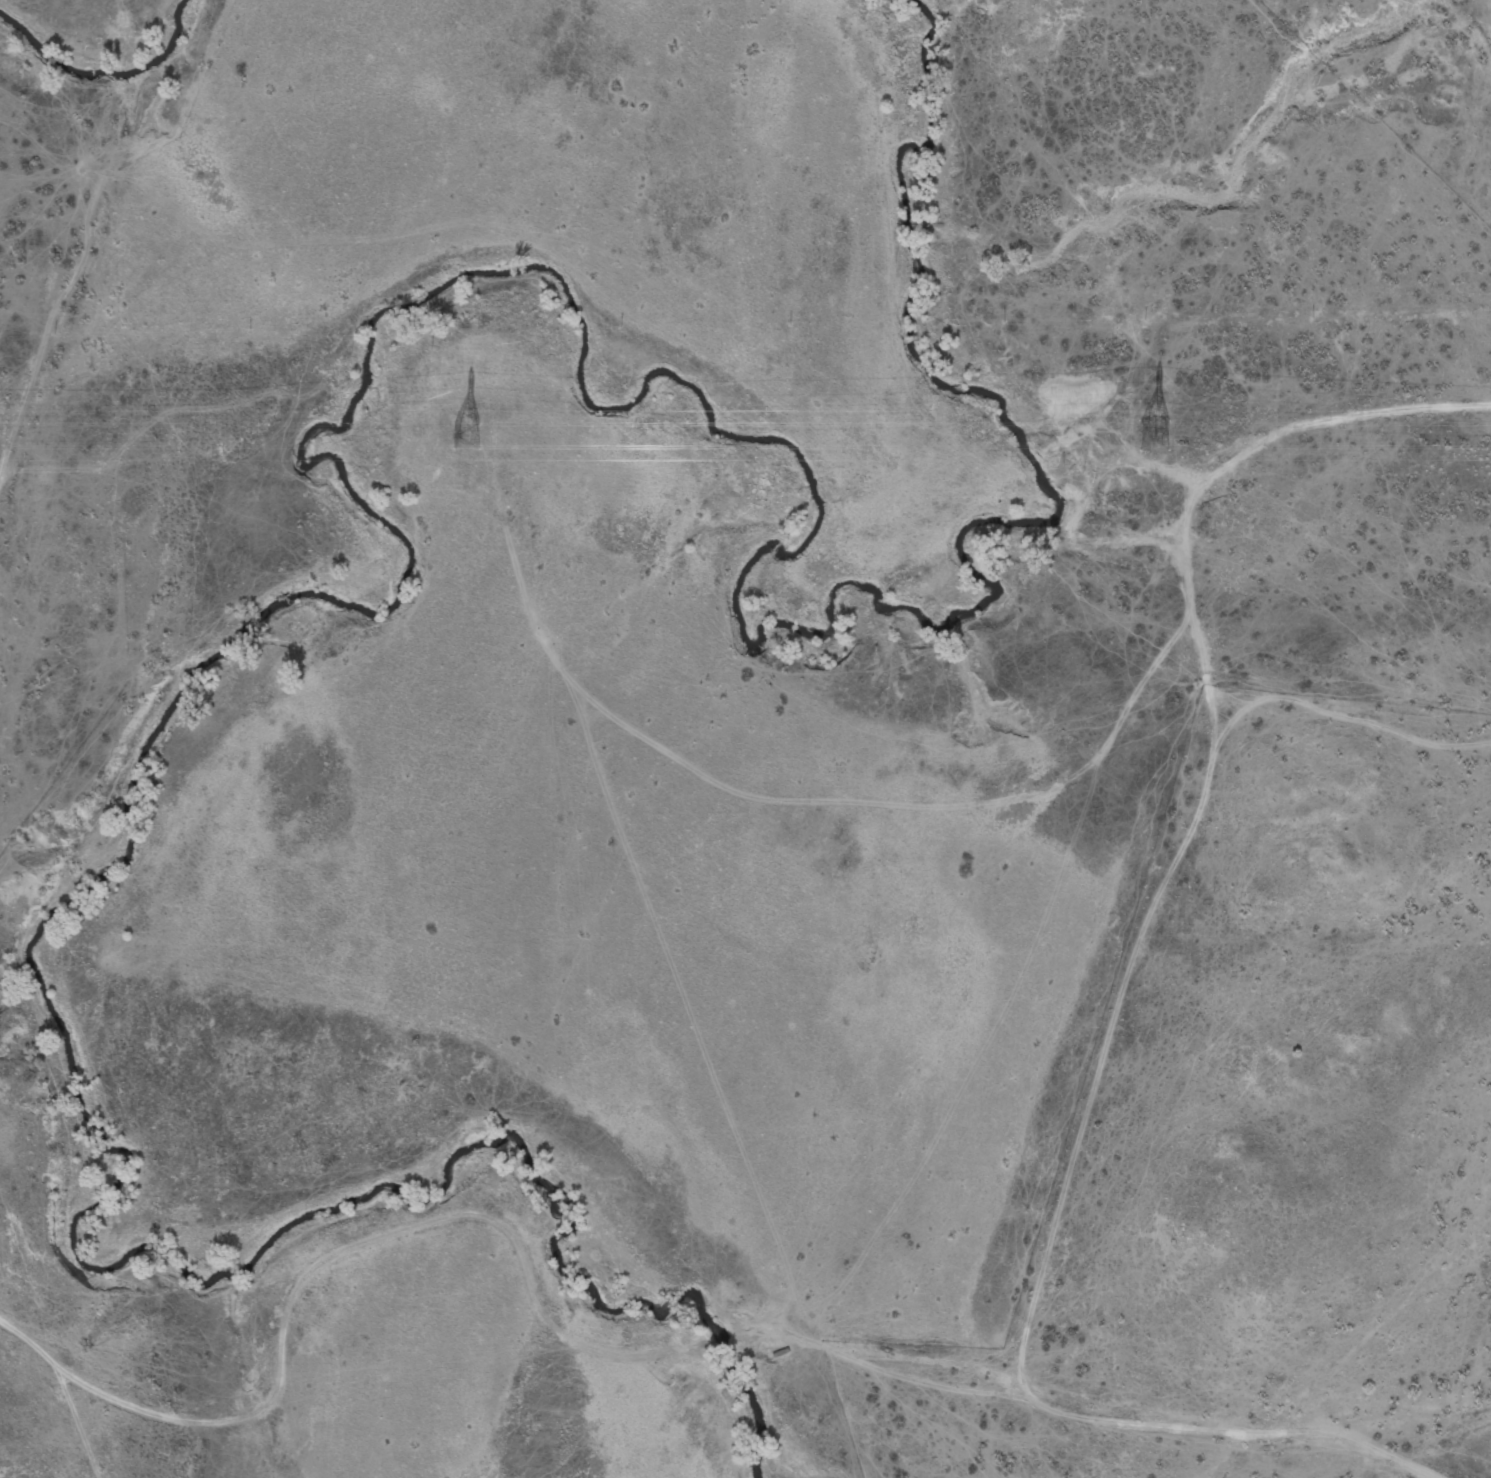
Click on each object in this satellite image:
road: (1456, 73)
road: (86, 244)
power tower: (470, 436)
power tower: (1160, 437)

